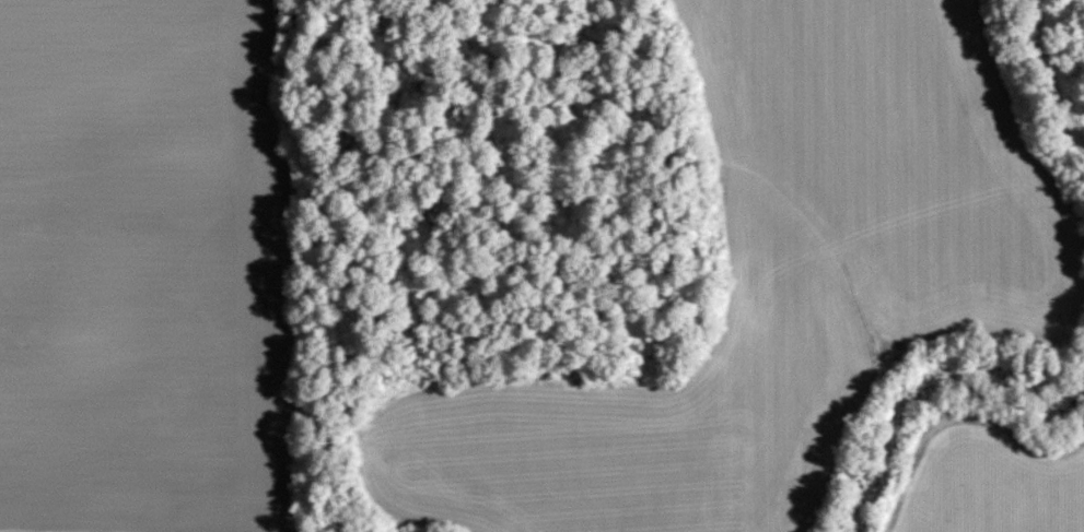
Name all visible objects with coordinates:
road: (1053, 72)

